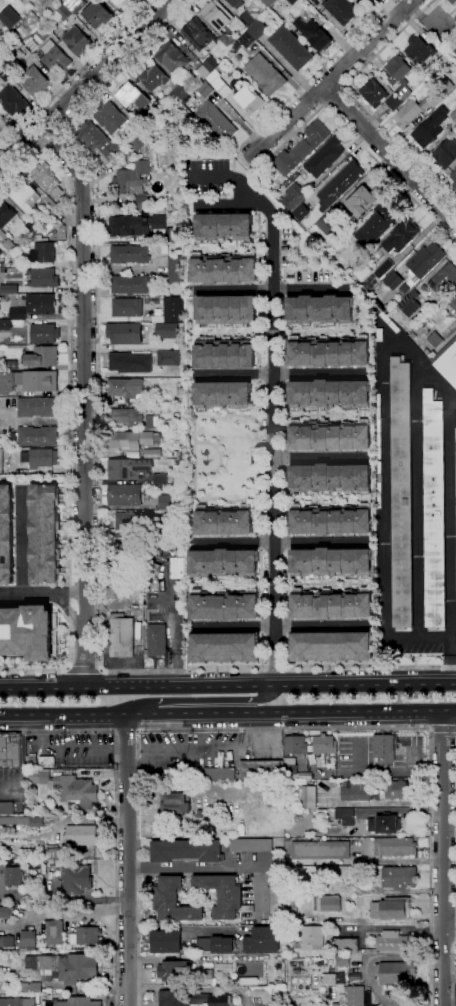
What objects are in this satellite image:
building: (369, 0)
building: (371, 0)
building: (63, 1)
building: (452, 1)
building: (268, 2)
building: (120, 3)
building: (72, 4)
building: (341, 10)
building: (8, 11)
building: (63, 12)
building: (245, 12)
building: (217, 14)
building: (99, 15)
building: (455, 17)
building: (302, 25)
building: (0, 28)
building: (258, 29)
building: (58, 32)
building: (42, 33)
building: (198, 35)
building: (227, 40)
building: (77, 41)
building: (32, 43)
building: (290, 48)
building: (223, 49)
building: (420, 50)
building: (441, 56)
building: (55, 57)
building: (172, 58)
building: (210, 63)
building: (259, 66)
building: (202, 72)
building: (4, 73)
road: (76, 73)
building: (399, 75)
road: (334, 76)
building: (453, 76)
building: (152, 77)
road: (332, 77)
building: (36, 82)
building: (218, 83)
road: (87, 84)
building: (205, 89)
building: (444, 89)
building: (373, 92)
building: (180, 93)
building: (128, 94)
road: (334, 95)
building: (248, 100)
building: (12, 101)
road: (356, 101)
building: (143, 102)
building: (394, 102)
building: (451, 102)
building: (159, 107)
building: (415, 109)
building: (454, 116)
building: (110, 117)
building: (216, 121)
building: (2, 123)
building: (136, 126)
building: (427, 133)
road: (50, 138)
building: (97, 140)
building: (139, 142)
building: (302, 148)
road: (273, 149)
building: (446, 153)
road: (389, 157)
building: (324, 158)
road: (234, 164)
building: (353, 170)
building: (45, 176)
parking lot: (205, 176)
building: (453, 177)
building: (132, 178)
road: (232, 179)
building: (288, 182)
building: (55, 192)
building: (26, 196)
building: (293, 197)
building: (364, 200)
building: (141, 202)
building: (331, 202)
building: (49, 208)
building: (6, 215)
building: (19, 219)
building: (34, 223)
building: (326, 223)
building: (378, 223)
building: (135, 225)
building: (225, 226)
building: (405, 232)
building: (174, 235)
building: (39, 238)
road: (259, 244)
building: (9, 246)
road: (231, 248)
building: (1, 252)
building: (42, 253)
building: (129, 254)
building: (423, 263)
building: (382, 268)
building: (175, 269)
road: (291, 269)
building: (225, 270)
building: (43, 277)
building: (393, 280)
building: (444, 280)
building: (129, 284)
building: (404, 288)
building: (8, 289)
road: (260, 290)
road: (270, 290)
road: (284, 290)
building: (453, 303)
building: (41, 304)
building: (414, 304)
building: (126, 307)
building: (387, 308)
building: (172, 309)
building: (227, 309)
building: (321, 309)
building: (17, 313)
building: (157, 319)
building: (18, 322)
building: (4, 324)
building: (166, 331)
road: (259, 331)
road: (285, 331)
road: (320, 331)
road: (233, 332)
road: (274, 332)
building: (44, 333)
building: (132, 333)
building: (413, 335)
building: (435, 339)
road: (400, 344)
building: (426, 351)
building: (329, 353)
building: (225, 354)
building: (42, 356)
building: (168, 358)
building: (447, 360)
building: (130, 363)
building: (11, 365)
road: (285, 373)
road: (259, 374)
road: (280, 374)
building: (36, 380)
building: (6, 382)
building: (125, 388)
building: (329, 393)
building: (223, 394)
building: (179, 398)
road: (454, 399)
road: (84, 400)
building: (38, 407)
building: (150, 407)
road: (274, 407)
road: (68, 412)
road: (287, 416)
building: (125, 417)
building: (152, 421)
building: (455, 430)
building: (35, 436)
building: (330, 437)
building: (130, 441)
building: (152, 453)
road: (322, 457)
building: (40, 458)
road: (194, 458)
road: (259, 458)
road: (287, 459)
building: (1, 461)
building: (127, 468)
building: (331, 478)
building: (380, 478)
building: (160, 479)
road: (97, 480)
building: (181, 482)
building: (401, 493)
building: (125, 495)
road: (418, 500)
road: (288, 501)
building: (166, 502)
building: (434, 510)
building: (174, 517)
building: (133, 521)
building: (224, 521)
building: (331, 521)
building: (44, 533)
building: (6, 535)
road: (260, 542)
road: (281, 542)
road: (288, 542)
building: (122, 553)
building: (331, 562)
building: (223, 563)
building: (176, 574)
road: (347, 583)
road: (232, 584)
road: (261, 584)
road: (289, 584)
road: (318, 584)
building: (134, 588)
road: (43, 598)
building: (225, 606)
building: (332, 606)
road: (455, 615)
road: (176, 617)
road: (261, 626)
road: (280, 626)
road: (289, 626)
building: (26, 633)
building: (121, 635)
road: (417, 637)
building: (156, 640)
building: (331, 646)
building: (225, 647)
road: (261, 652)
road: (289, 652)
road: (449, 659)
road: (84, 670)
road: (228, 683)
road: (205, 702)
road: (227, 715)
road: (129, 725)
road: (430, 728)
road: (443, 728)
road: (285, 729)
road: (56, 731)
road: (125, 734)
building: (297, 745)
building: (325, 745)
building: (384, 747)
building: (10, 749)
building: (32, 760)
building: (47, 761)
building: (27, 767)
road: (23, 768)
building: (291, 769)
building: (262, 770)
building: (188, 773)
road: (399, 773)
building: (217, 774)
building: (339, 781)
building: (333, 783)
building: (339, 786)
building: (67, 787)
building: (402, 789)
building: (272, 791)
building: (358, 791)
building: (38, 798)
building: (307, 798)
building: (175, 802)
road: (387, 803)
building: (286, 805)
building: (34, 806)
building: (6, 808)
building: (28, 811)
building: (322, 813)
building: (199, 814)
building: (344, 817)
building: (264, 819)
building: (36, 822)
building: (319, 823)
building: (384, 824)
building: (261, 826)
building: (82, 835)
building: (307, 838)
building: (334, 838)
building: (251, 845)
building: (394, 846)
building: (321, 850)
building: (186, 851)
building: (53, 853)
road: (442, 859)
road: (402, 860)
building: (17, 861)
road: (222, 866)
road: (114, 868)
road: (128, 869)
building: (341, 872)
building: (14, 876)
building: (396, 876)
building: (77, 879)
building: (224, 895)
building: (277, 895)
road: (63, 899)
building: (174, 901)
building: (327, 903)
building: (387, 909)
building: (6, 912)
road: (62, 913)
road: (179, 929)
building: (55, 932)
building: (88, 935)
building: (311, 937)
building: (28, 940)
building: (263, 940)
building: (7, 941)
building: (390, 941)
building: (166, 942)
building: (344, 944)
building: (215, 945)
building: (342, 960)
building: (67, 967)
building: (175, 972)
building: (231, 972)
building: (396, 972)
road: (453, 974)
building: (23, 977)
building: (20, 984)
building: (33, 988)
building: (45, 993)
building: (262, 993)
building: (355, 996)
building: (192, 999)
building: (17, 1002)
building: (75, 1002)
building: (272, 1005)
road: (454, 1005)

